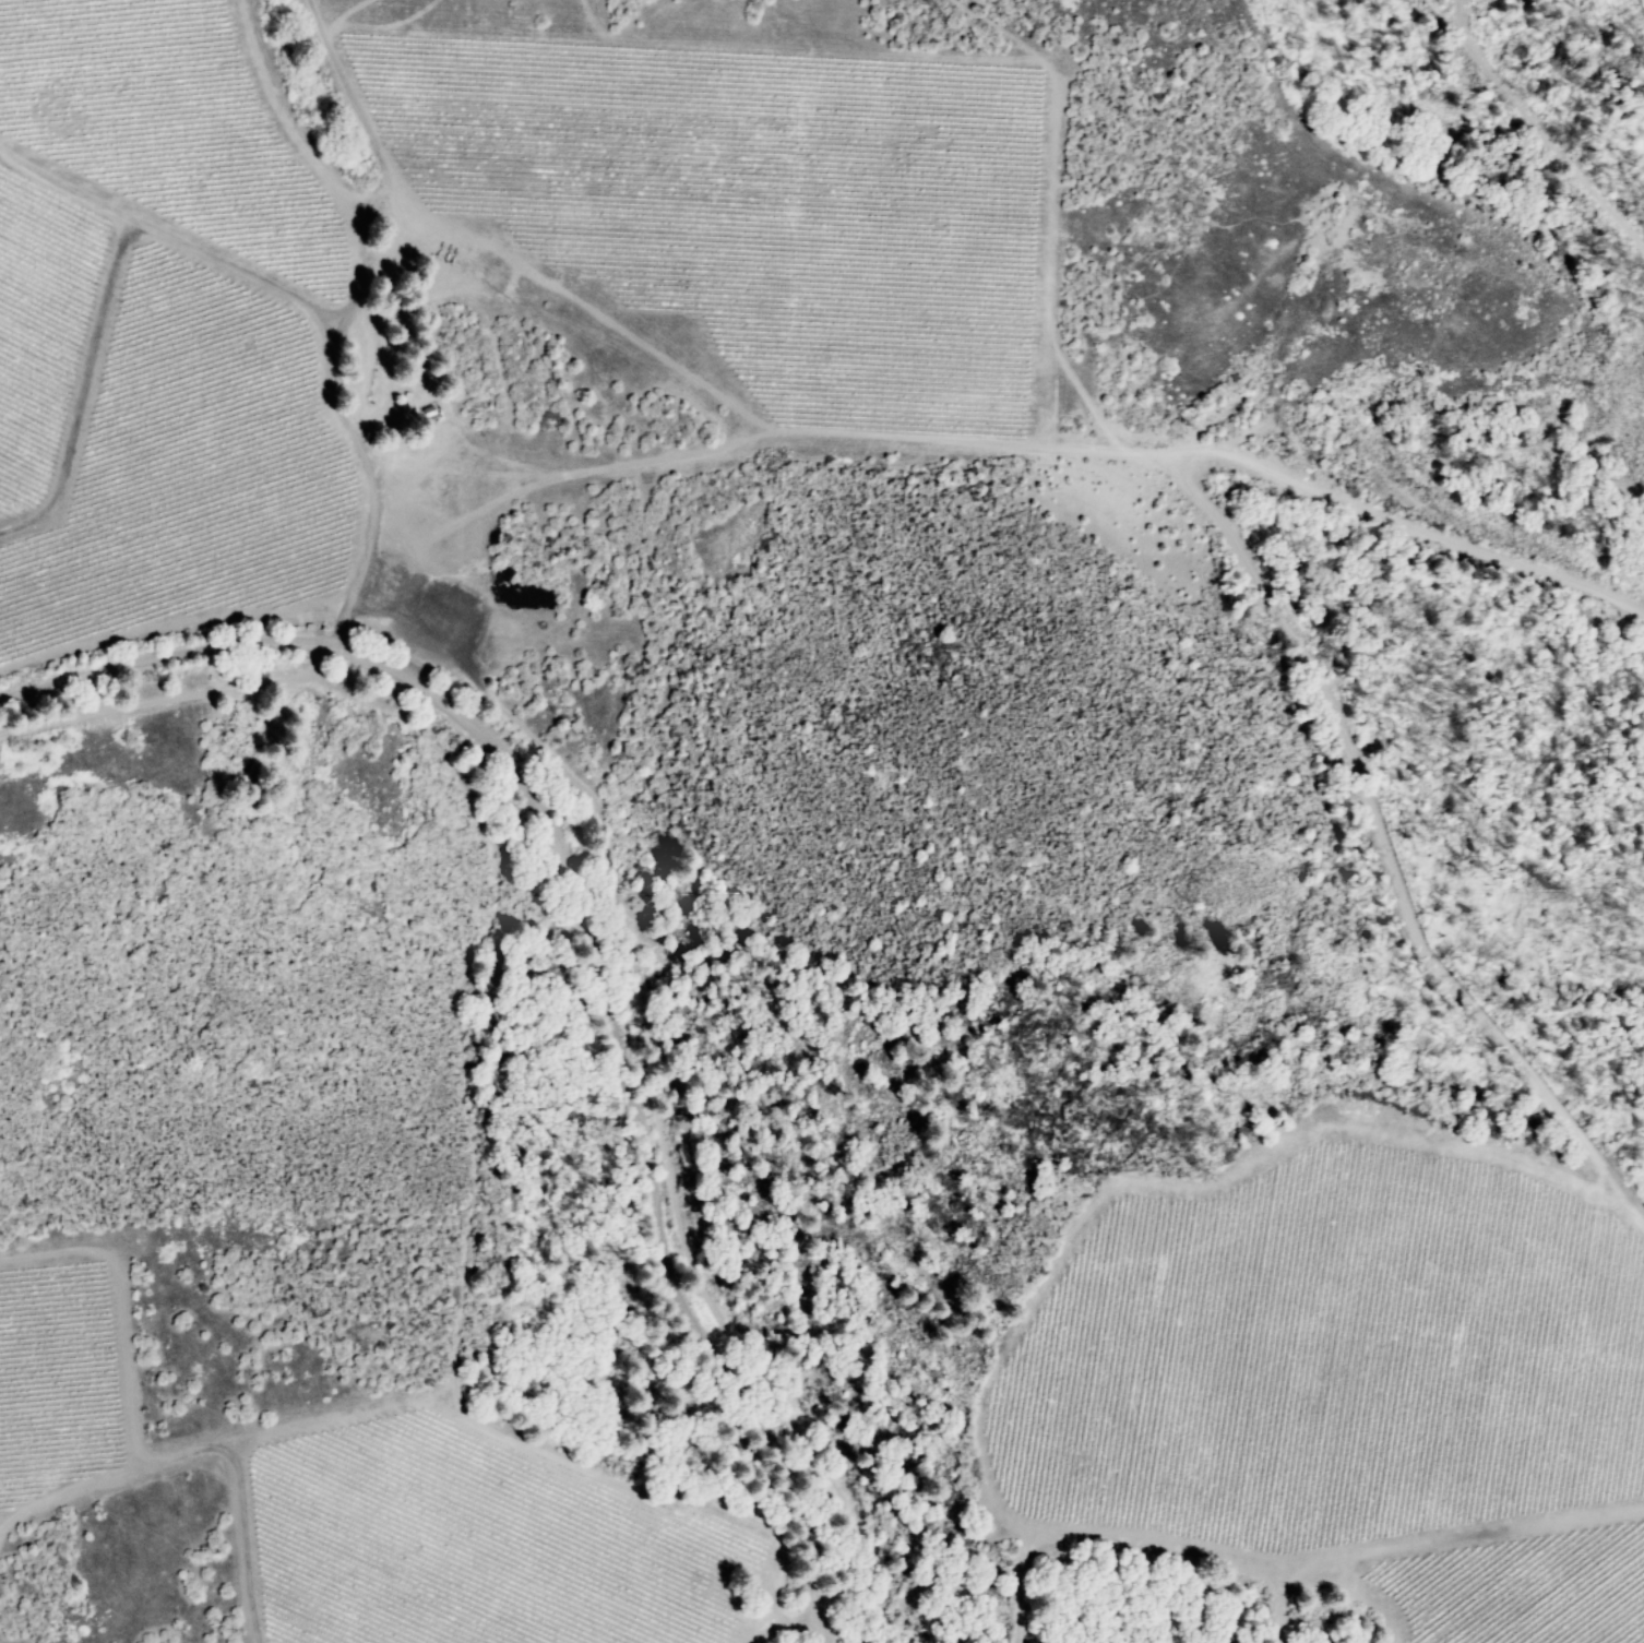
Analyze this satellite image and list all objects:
road: (354, 302)
building: (404, 406)
building: (453, 471)
road: (1193, 496)
road: (169, 623)
road: (337, 626)
road: (591, 939)

